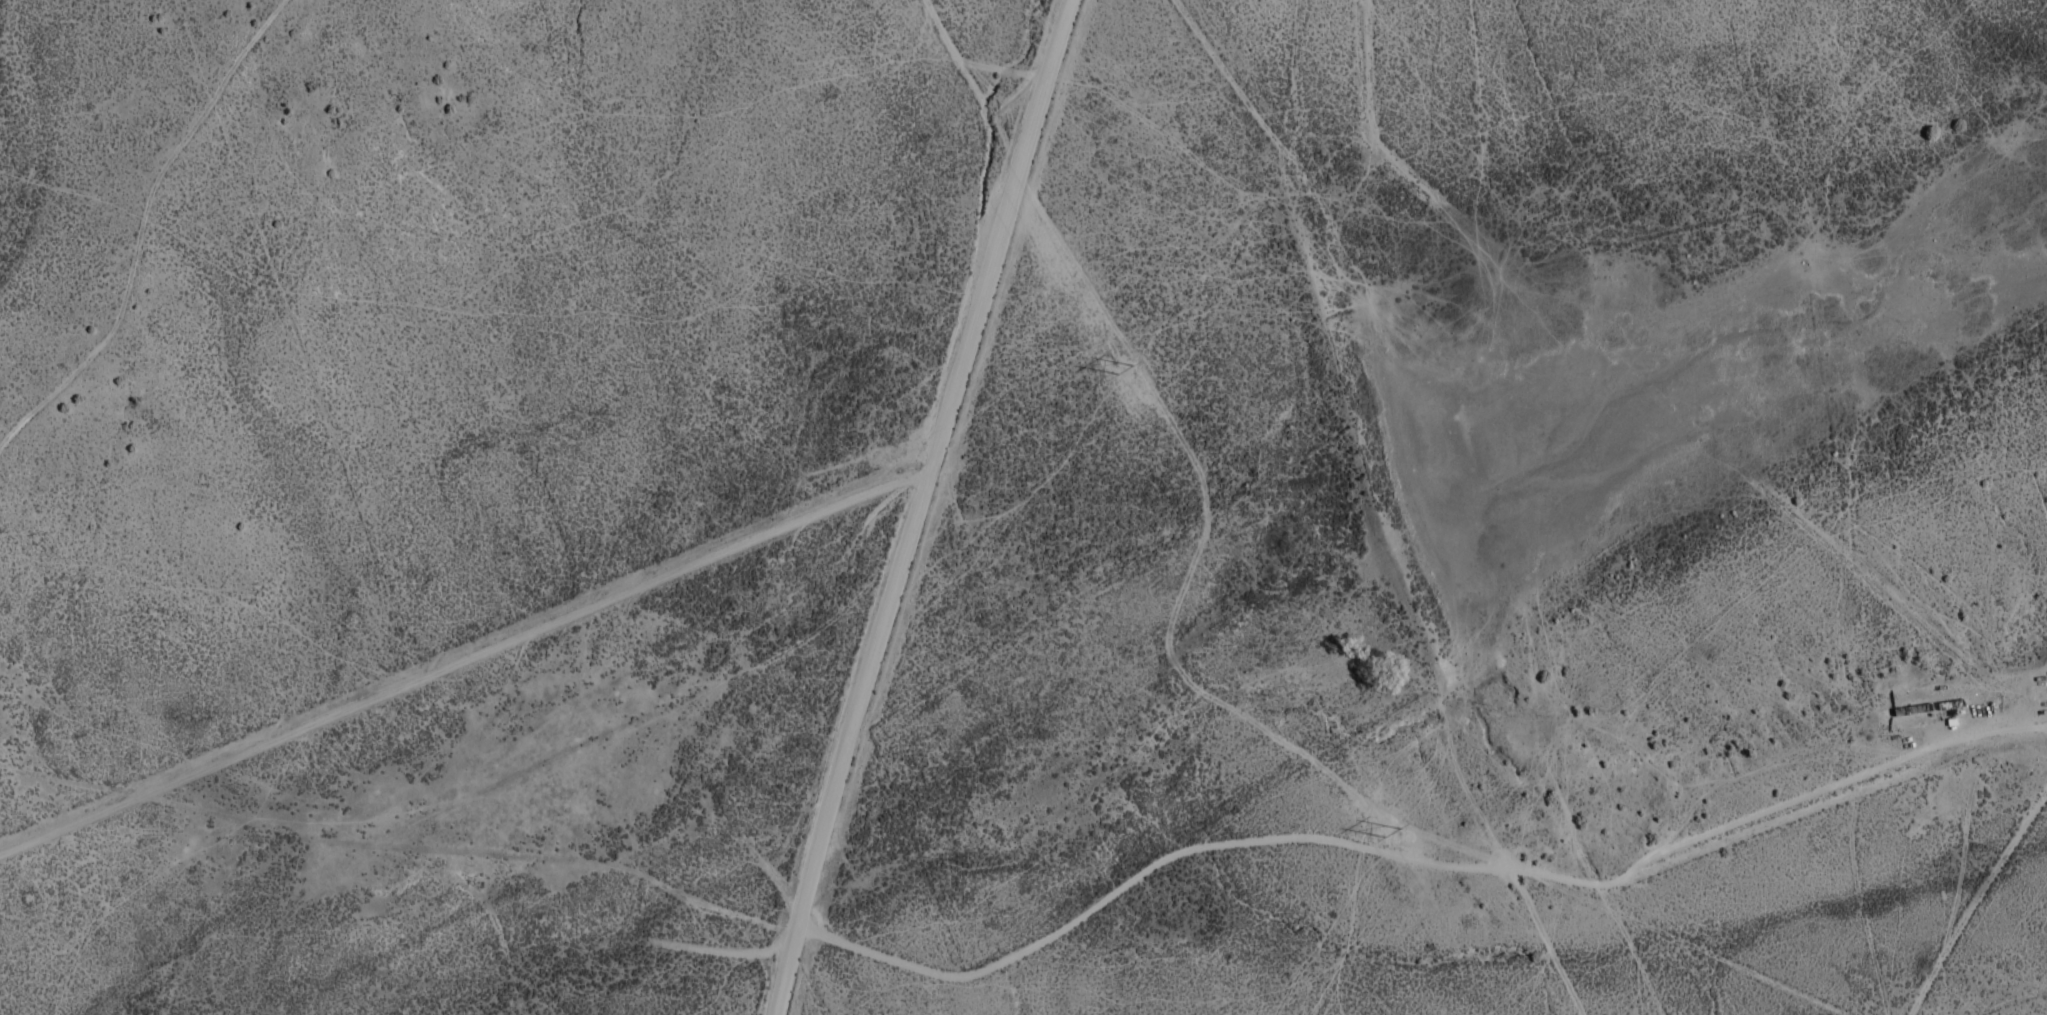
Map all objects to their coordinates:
power tower: (1121, 362)
road: (921, 507)
river: (1270, 560)
building: (1914, 711)
power tower: (1391, 841)
road: (1975, 902)

